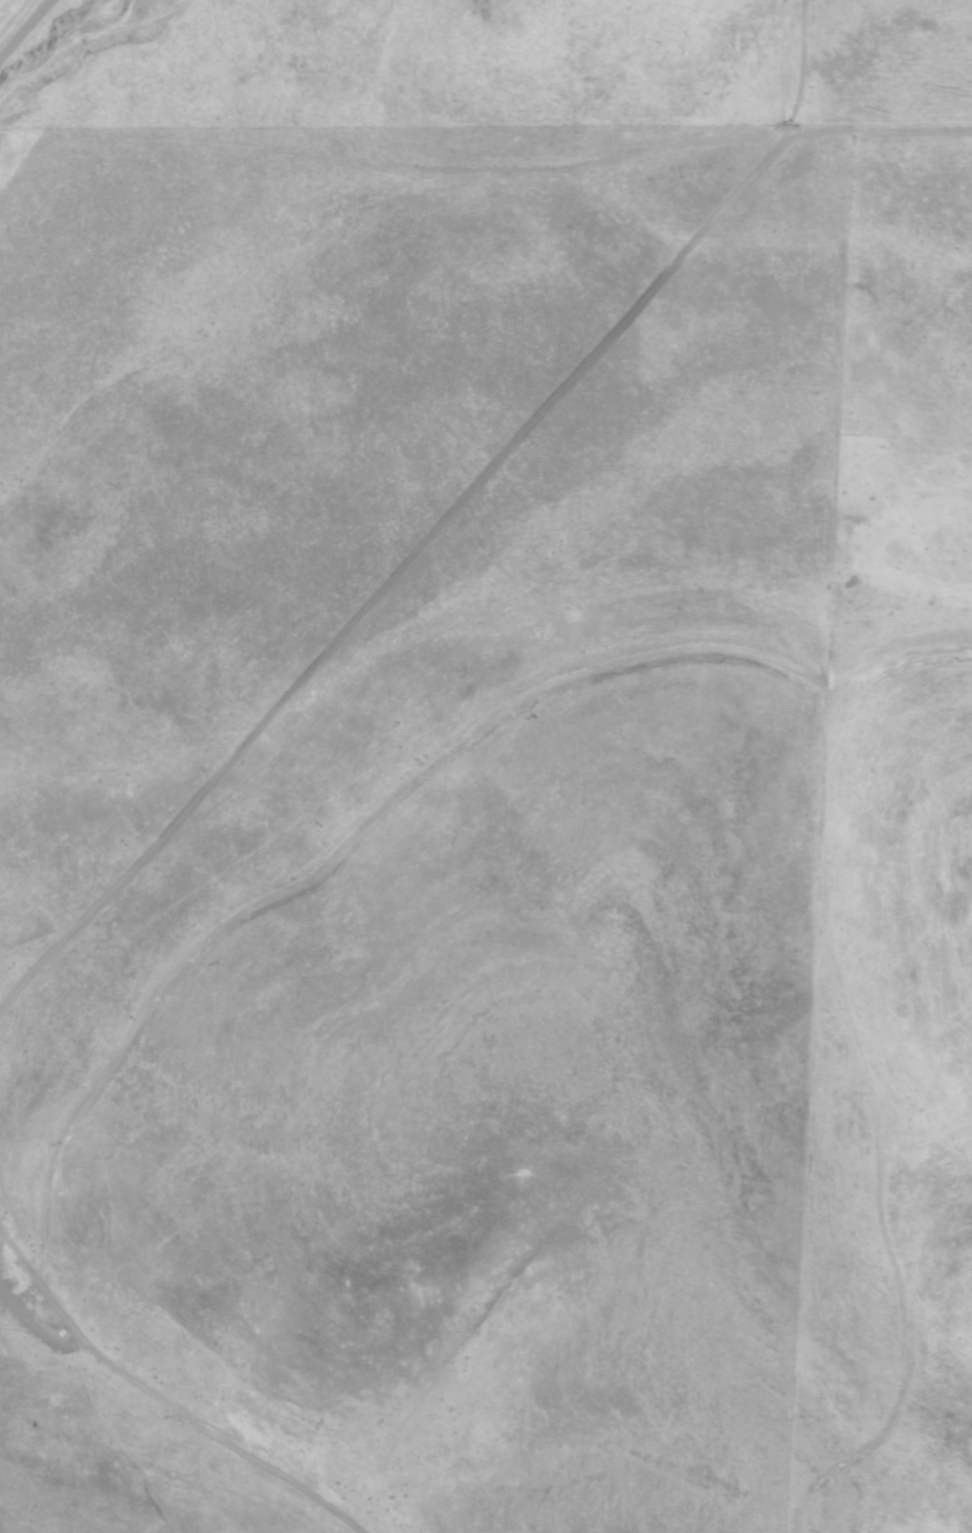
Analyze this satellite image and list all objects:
road: (23, 0)
road: (12, 30)
road: (396, 757)
road: (162, 1411)

